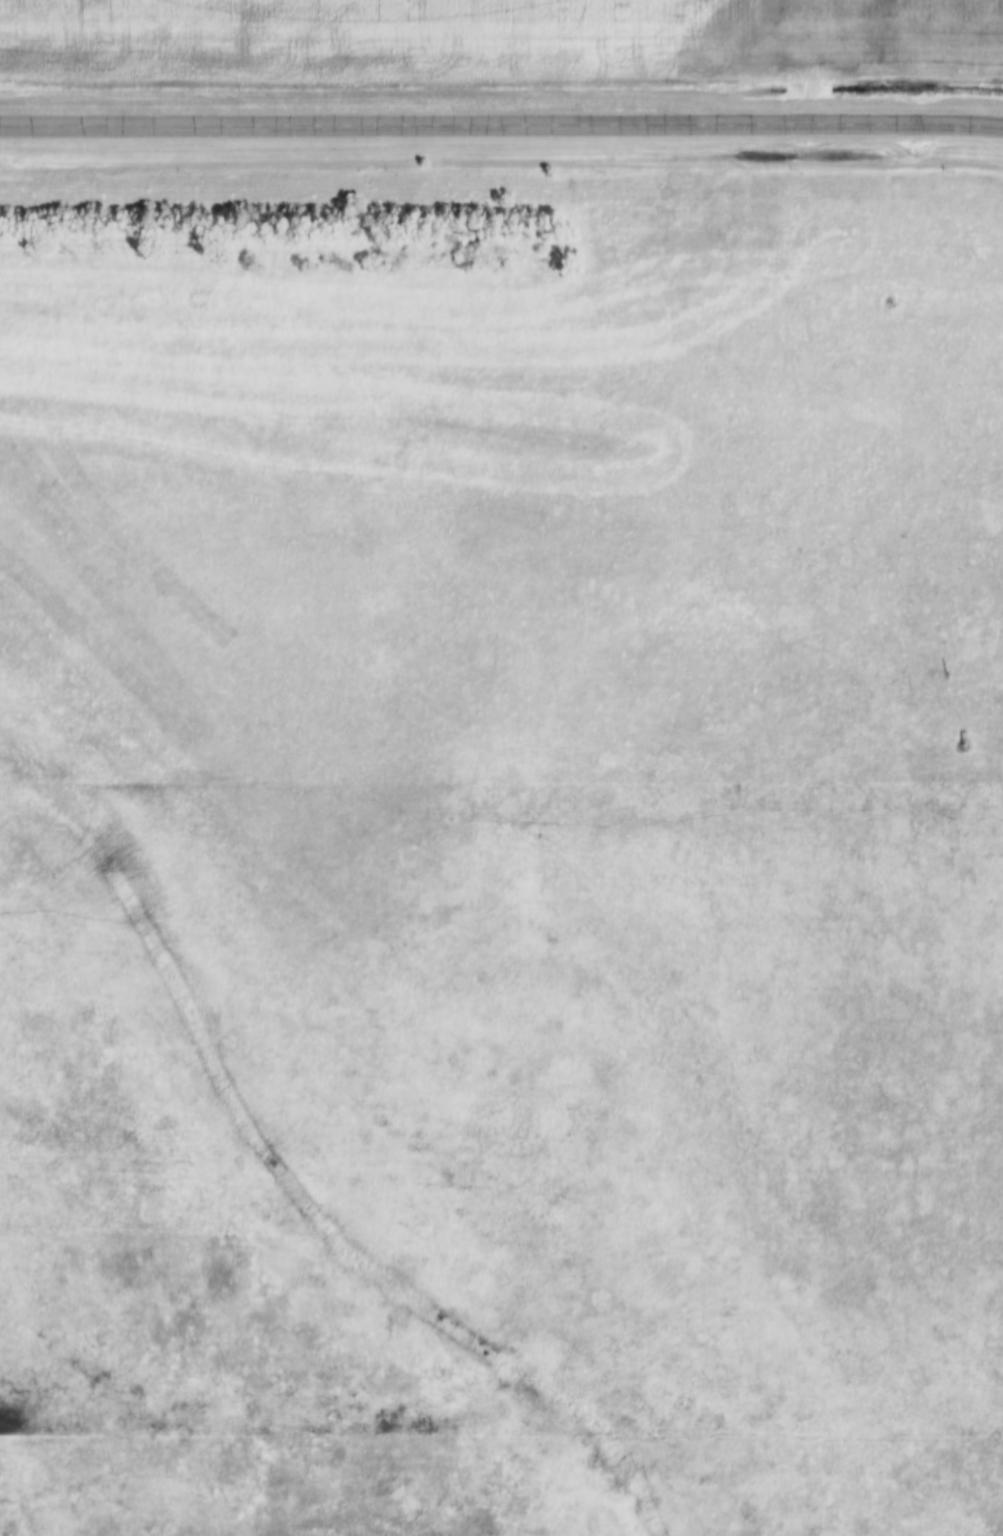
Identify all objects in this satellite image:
road: (501, 126)

